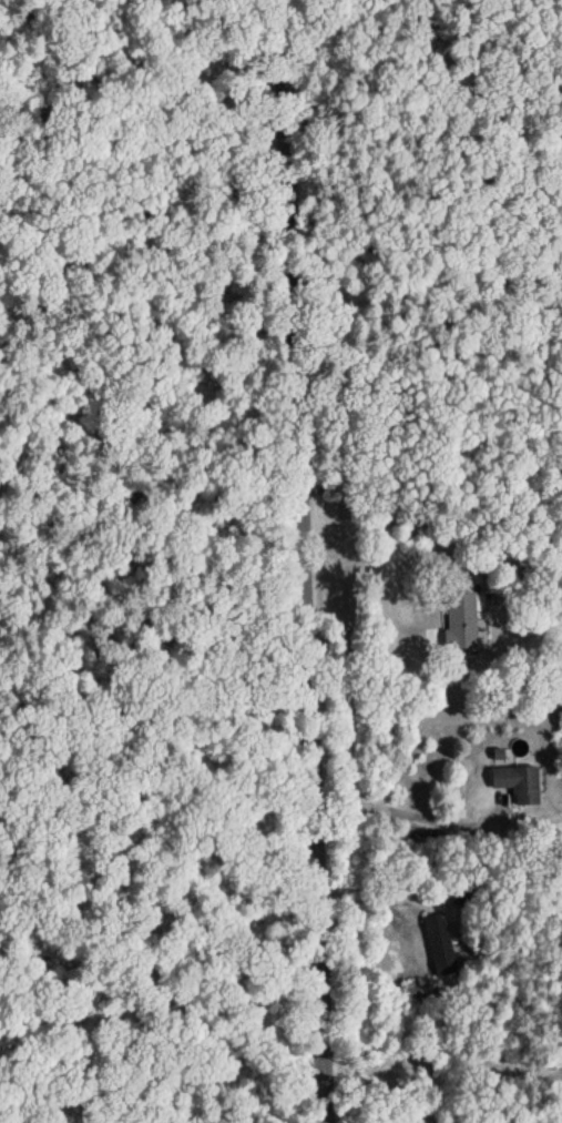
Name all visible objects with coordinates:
road: (302, 561)
road: (370, 568)
building: (463, 623)
building: (515, 781)
road: (407, 815)
road: (380, 896)
building: (440, 943)

